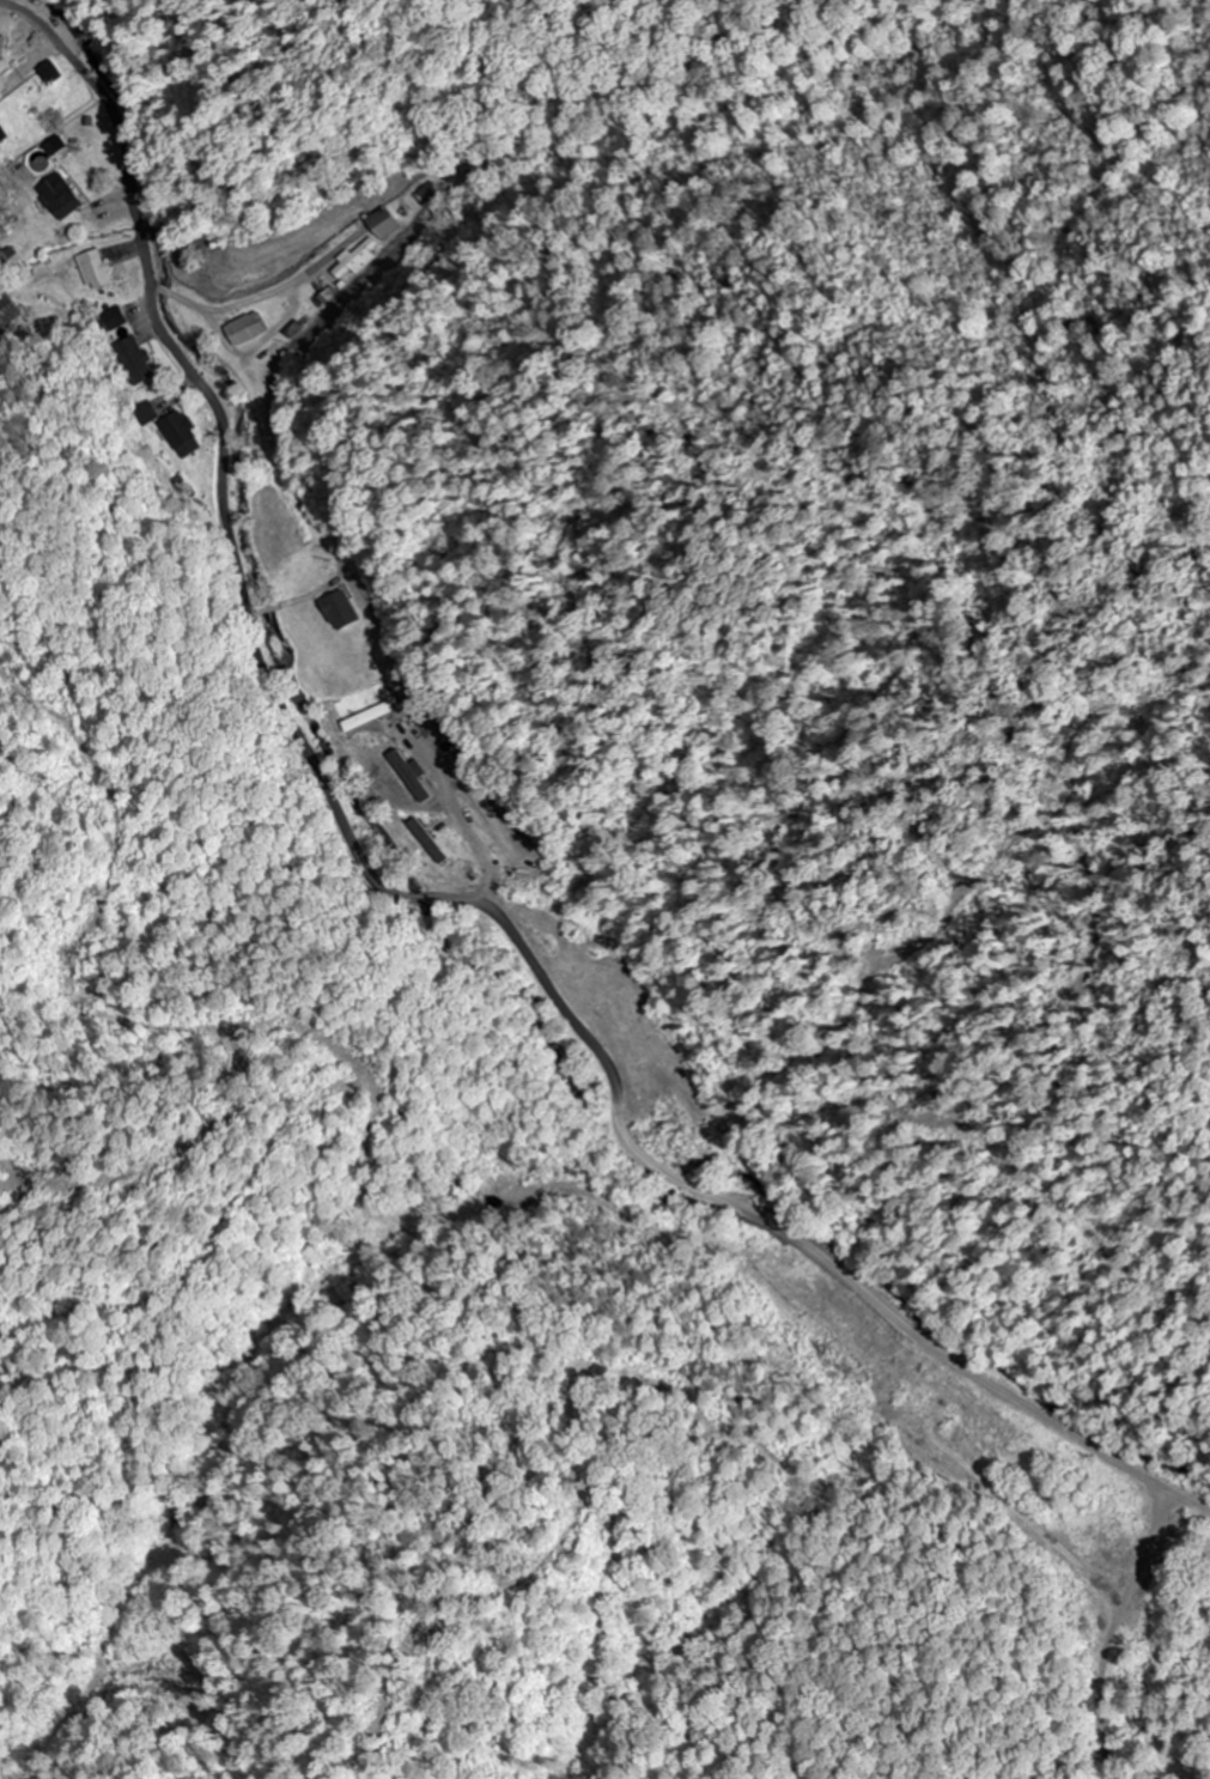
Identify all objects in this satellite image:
building: (5, 45)
building: (54, 73)
building: (0, 127)
building: (2, 136)
building: (60, 146)
building: (66, 196)
building: (383, 224)
building: (351, 265)
building: (98, 269)
building: (11, 312)
building: (251, 329)
building: (138, 360)
building: (146, 413)
building: (186, 435)
building: (345, 612)
building: (373, 717)
building: (415, 778)
road: (427, 895)

